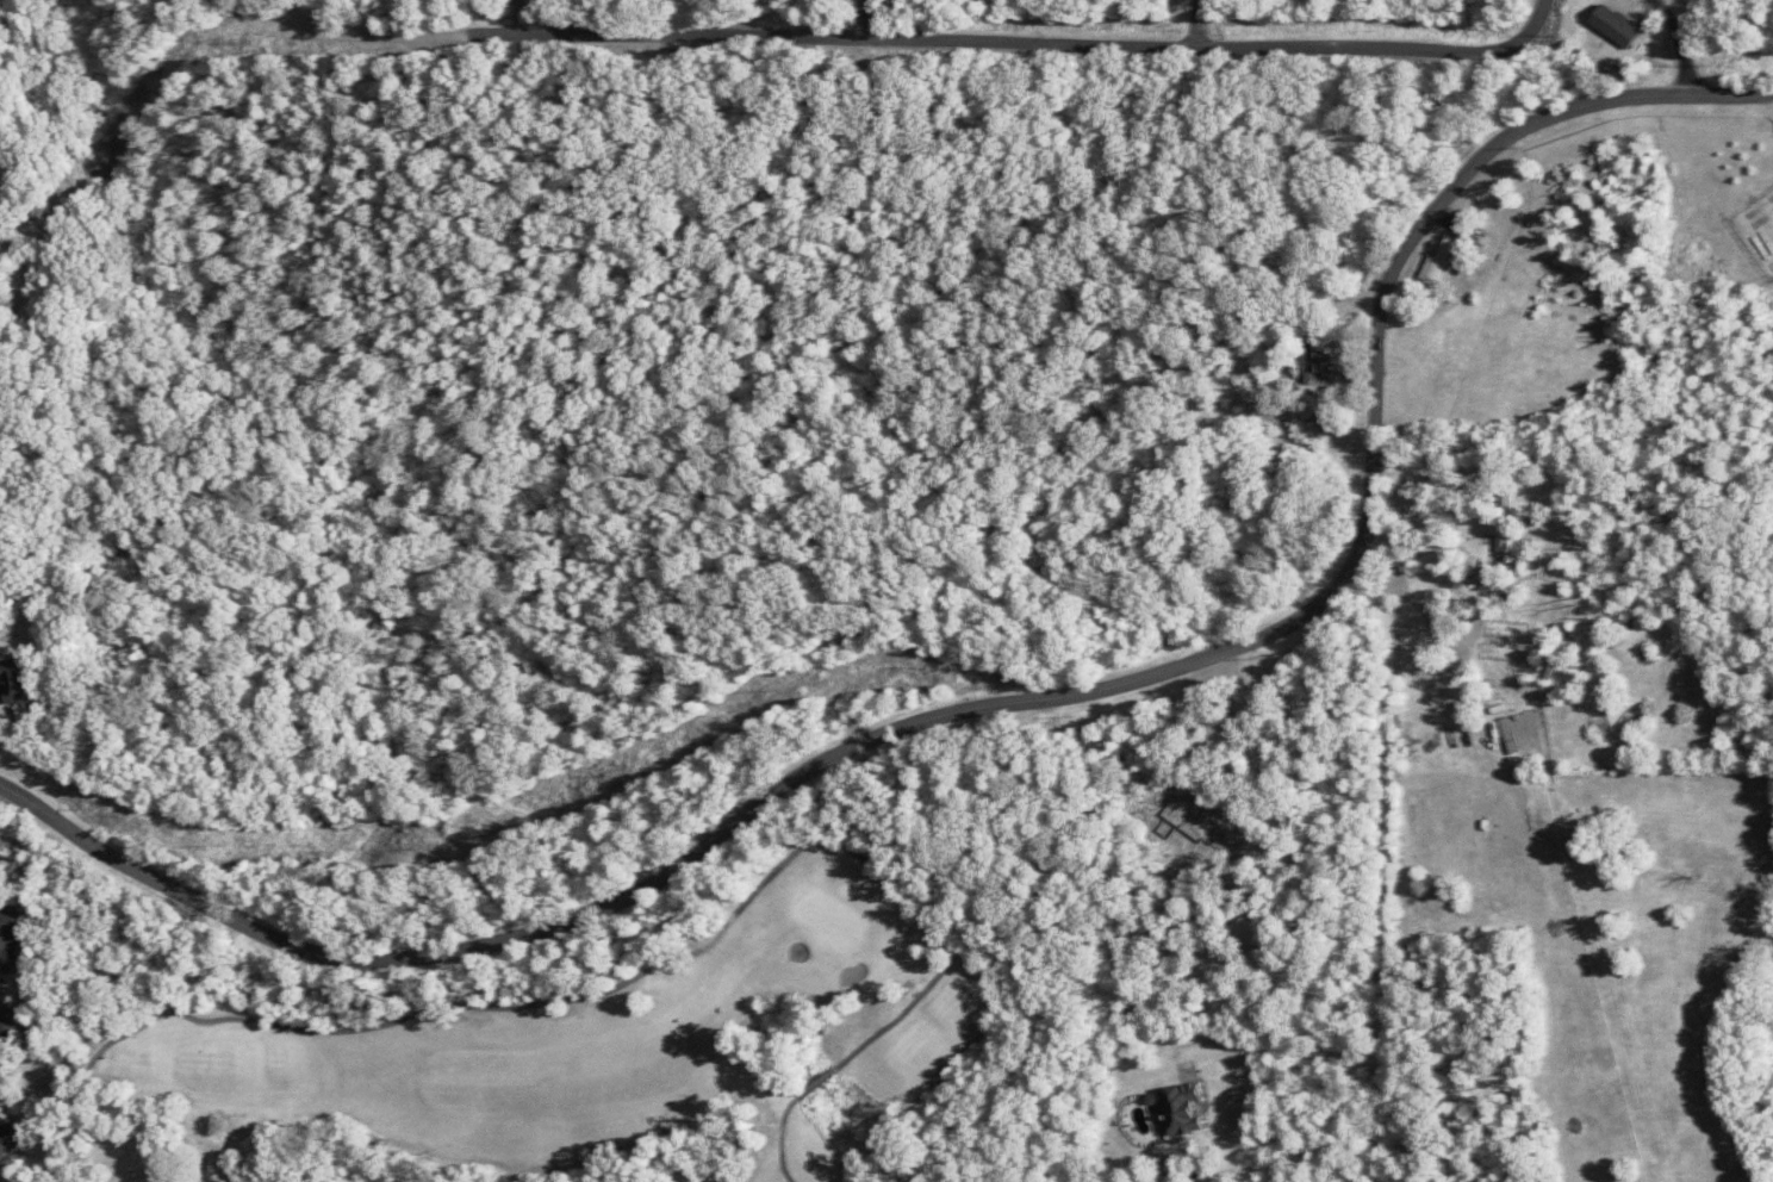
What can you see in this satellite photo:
road: (1678, 8)
road: (871, 21)
building: (1615, 26)
road: (1202, 27)
road: (1686, 41)
road: (943, 45)
building: (1441, 260)
road: (713, 334)
building: (1313, 365)
building: (1500, 523)
building: (17, 680)
road: (839, 683)
road: (1016, 702)
road: (421, 741)
road: (858, 744)
road: (1386, 869)
building: (10, 944)
road: (1026, 976)
road: (418, 982)
building: (10, 1031)
road: (1283, 1052)
park: (566, 1056)
building: (1178, 1108)
building: (8, 1145)

